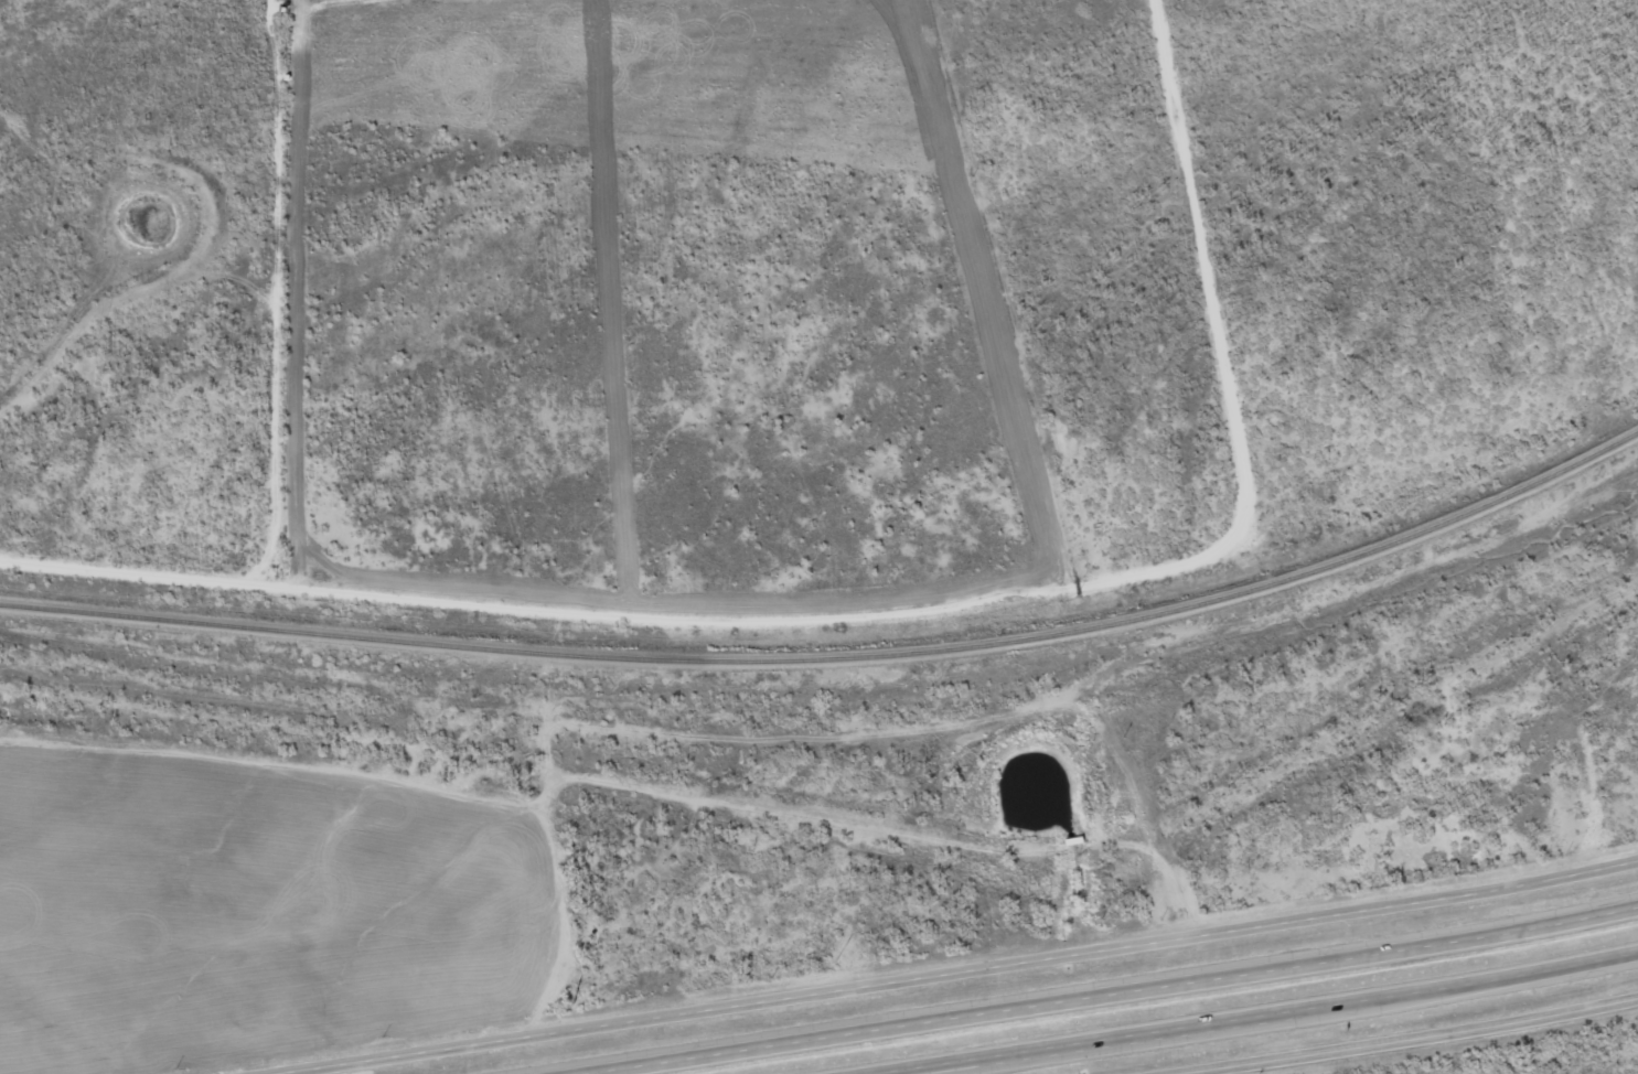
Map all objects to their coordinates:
railway: (836, 659)
road: (1303, 758)
road: (472, 762)
road: (967, 953)
road: (1101, 995)
road: (1250, 1016)
road: (1388, 1033)
road: (1025, 1056)

